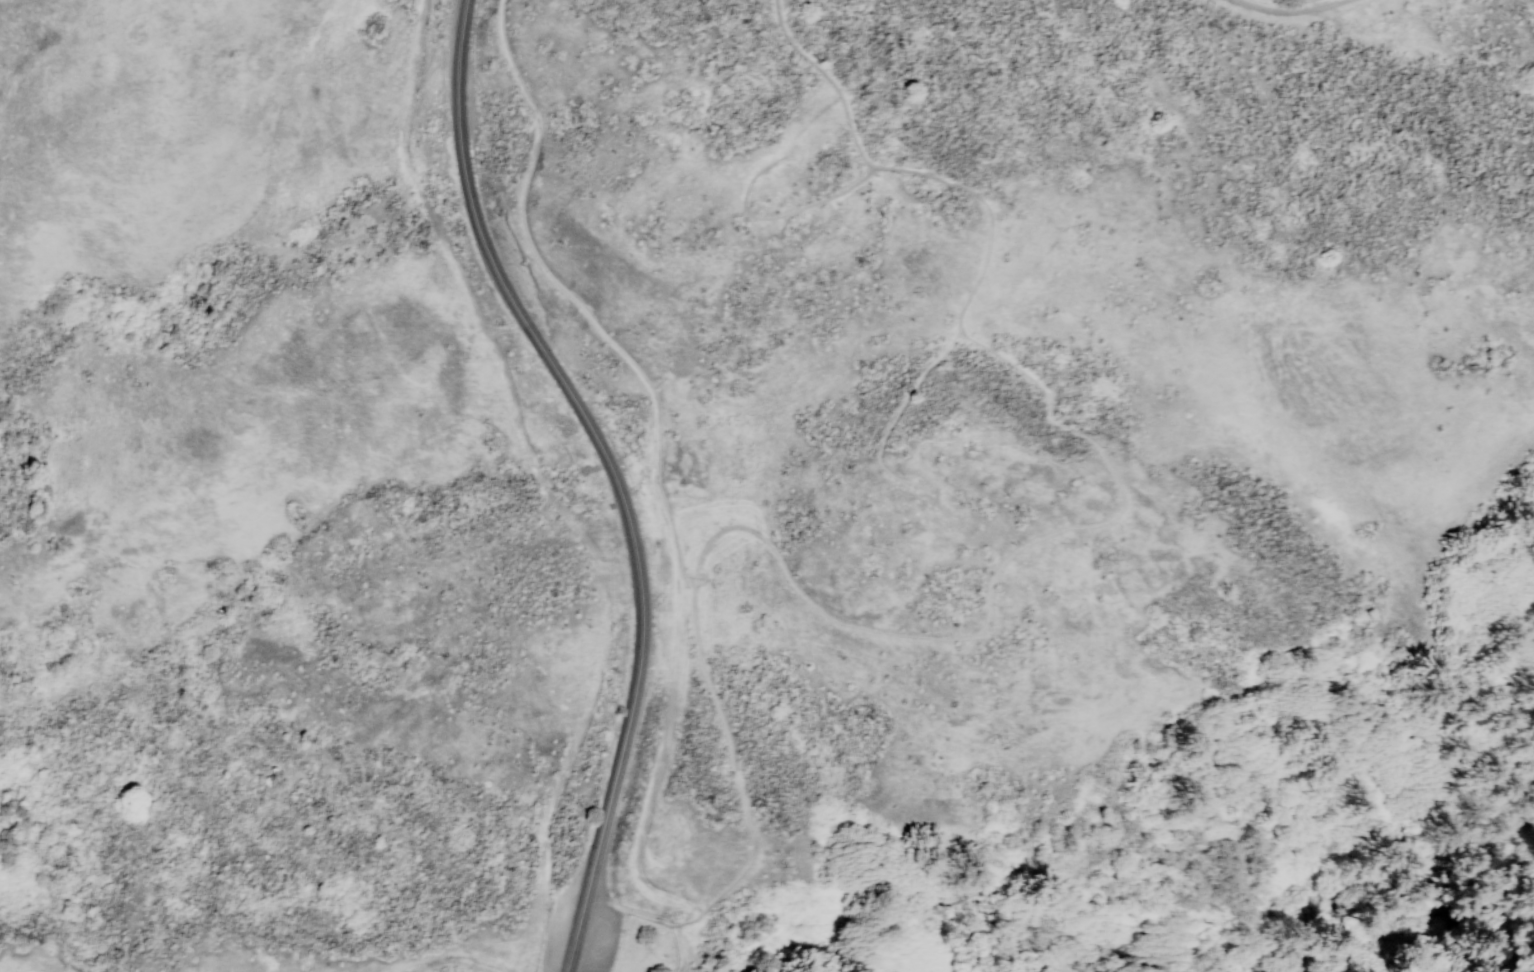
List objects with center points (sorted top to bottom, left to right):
road: (1292, 15)
road: (825, 79)
road: (987, 214)
road: (768, 218)
road: (573, 297)
road: (610, 474)
road: (890, 474)
road: (543, 485)
road: (985, 589)
road: (734, 768)
road: (603, 907)
road: (650, 920)
parking lot: (614, 943)
road: (693, 956)
road: (455, 957)
road: (687, 963)

